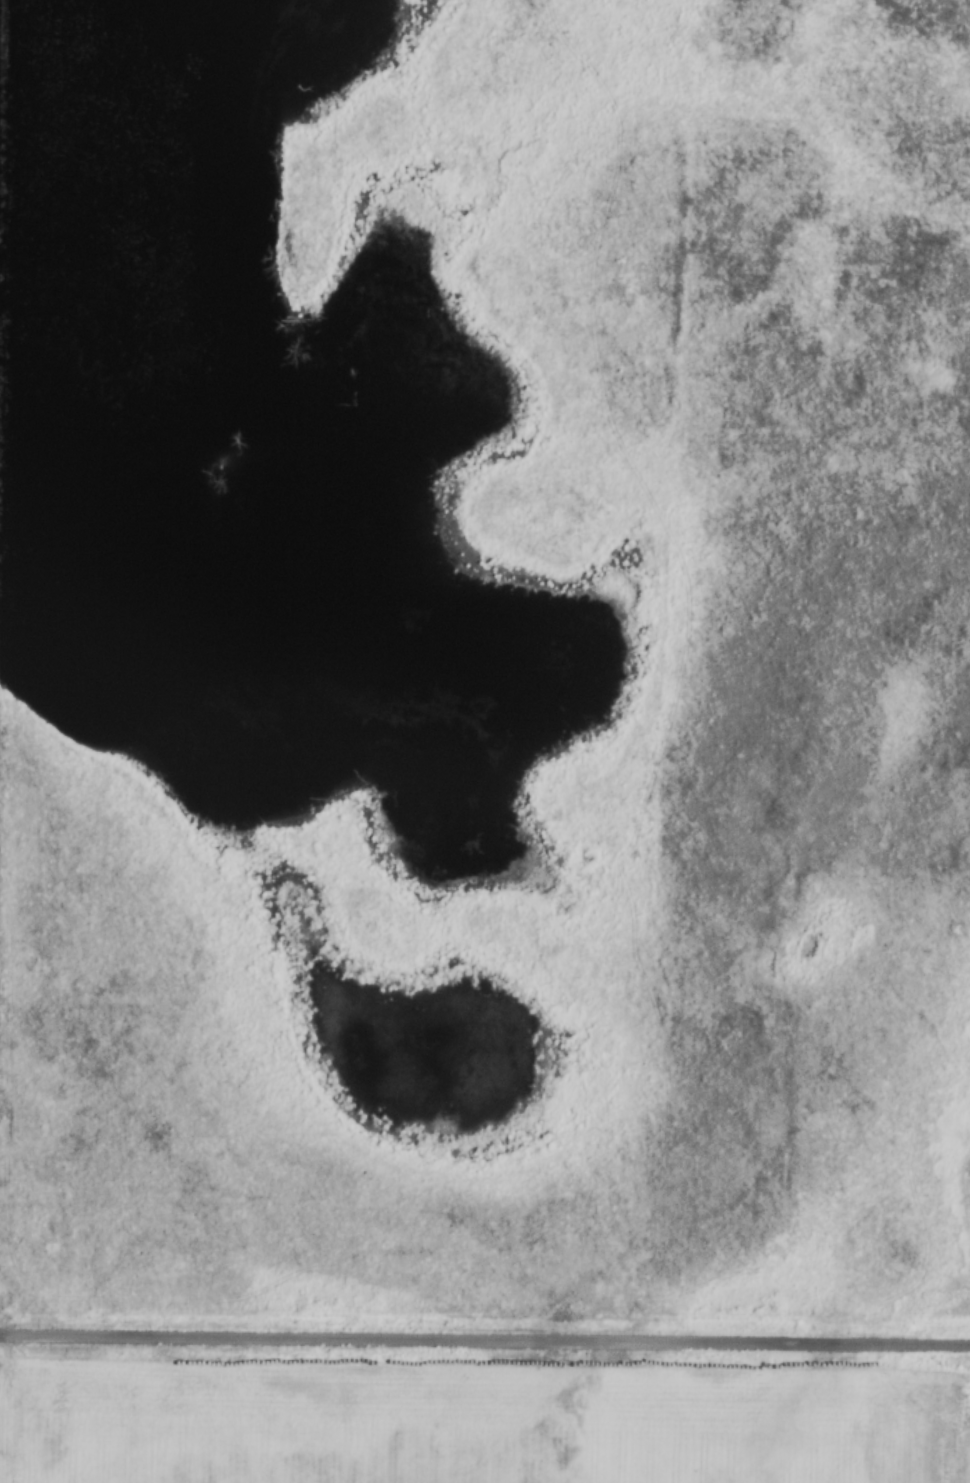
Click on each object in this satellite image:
road: (485, 1338)

